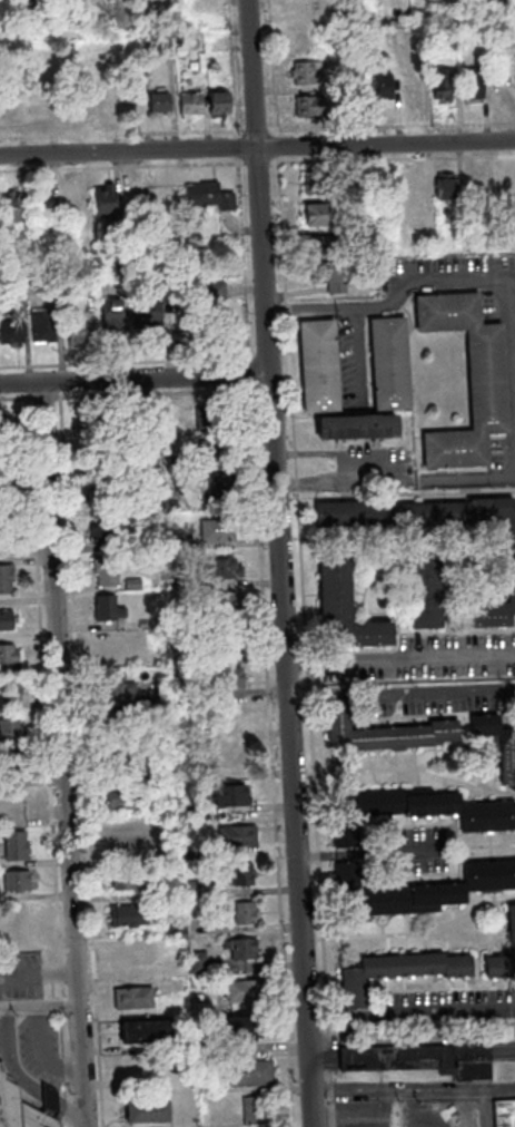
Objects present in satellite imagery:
building: (299, 9)
building: (475, 9)
building: (444, 32)
building: (178, 50)
building: (296, 73)
building: (435, 84)
building: (333, 85)
building: (465, 85)
building: (376, 86)
building: (410, 87)
building: (155, 102)
building: (187, 102)
building: (216, 102)
road: (273, 102)
building: (99, 104)
building: (137, 105)
building: (9, 107)
building: (303, 107)
building: (348, 116)
road: (257, 130)
road: (257, 148)
road: (257, 164)
building: (359, 182)
building: (309, 183)
building: (504, 185)
building: (443, 186)
building: (478, 187)
building: (412, 189)
building: (205, 196)
building: (102, 200)
building: (38, 203)
building: (9, 207)
building: (316, 215)
building: (423, 233)
building: (318, 247)
building: (117, 267)
building: (326, 274)
building: (214, 311)
building: (108, 314)
building: (142, 314)
building: (39, 325)
building: (9, 331)
building: (73, 334)
building: (386, 363)
building: (315, 365)
road: (508, 371)
road: (133, 379)
building: (483, 381)
road: (133, 393)
building: (207, 419)
building: (0, 420)
building: (92, 425)
building: (353, 428)
building: (176, 442)
building: (208, 448)
road: (326, 451)
building: (96, 454)
building: (1, 458)
building: (172, 463)
building: (219, 489)
building: (95, 493)
building: (0, 499)
building: (2, 500)
building: (129, 508)
building: (214, 529)
building: (99, 533)
building: (2, 536)
building: (170, 543)
building: (507, 549)
road: (278, 562)
road: (256, 565)
building: (218, 569)
building: (102, 570)
building: (4, 577)
building: (129, 584)
building: (420, 595)
building: (221, 601)
building: (103, 609)
building: (341, 609)
building: (198, 616)
building: (6, 619)
building: (140, 623)
building: (225, 643)
building: (105, 645)
building: (9, 656)
building: (153, 657)
road: (418, 657)
road: (304, 661)
building: (222, 679)
building: (111, 687)
building: (7, 689)
road: (400, 694)
building: (153, 696)
building: (108, 722)
building: (9, 731)
building: (380, 733)
building: (496, 747)
road: (62, 755)
building: (236, 758)
road: (44, 761)
building: (110, 761)
building: (9, 765)
building: (227, 794)
building: (122, 800)
building: (416, 812)
building: (123, 835)
building: (234, 835)
building: (14, 843)
road: (383, 851)
road: (315, 854)
building: (239, 874)
building: (127, 878)
building: (17, 879)
building: (194, 888)
building: (166, 890)
building: (419, 890)
building: (241, 912)
building: (22, 917)
building: (125, 917)
building: (175, 931)
building: (509, 932)
building: (239, 948)
building: (128, 953)
building: (195, 962)
building: (176, 970)
building: (394, 973)
road: (38, 974)
building: (242, 988)
building: (130, 996)
road: (38, 1006)
road: (429, 1013)
road: (325, 1017)
parking lot: (26, 1019)
building: (244, 1023)
building: (142, 1030)
road: (409, 1038)
road: (38, 1053)
building: (418, 1057)
road: (6, 1058)
building: (133, 1066)
building: (245, 1070)
road: (412, 1082)
road: (50, 1098)
building: (26, 1106)
road: (70, 1108)
building: (150, 1109)
building: (258, 1109)
building: (505, 1113)
road: (377, 1116)

